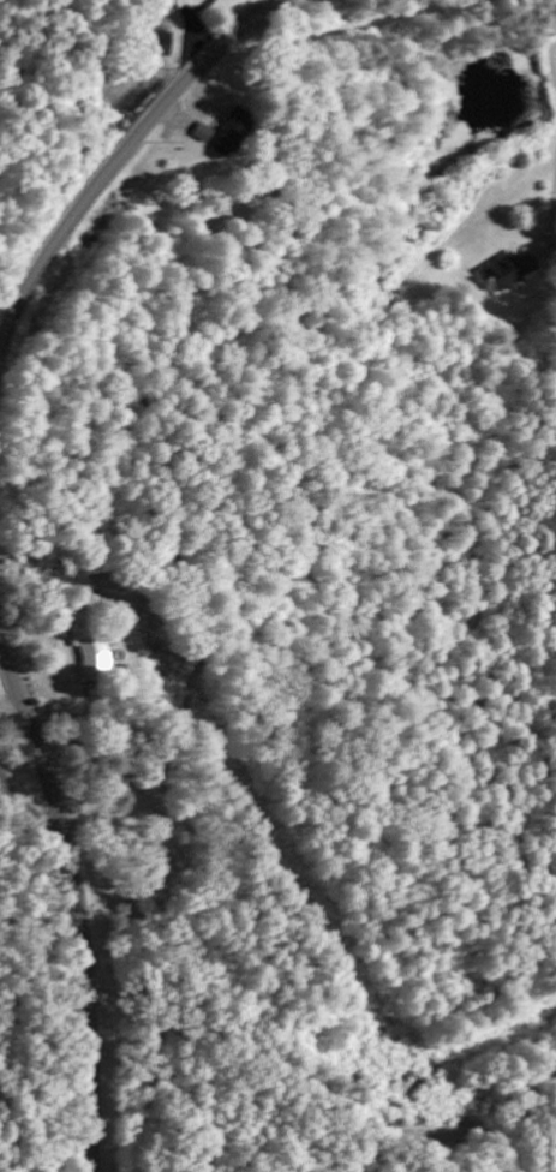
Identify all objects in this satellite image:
building: (180, 4)
building: (201, 134)
building: (228, 134)
road: (121, 153)
building: (508, 271)
building: (88, 651)
road: (55, 809)
road: (30, 812)
road: (91, 1082)
road: (318, 1092)
road: (528, 1095)

